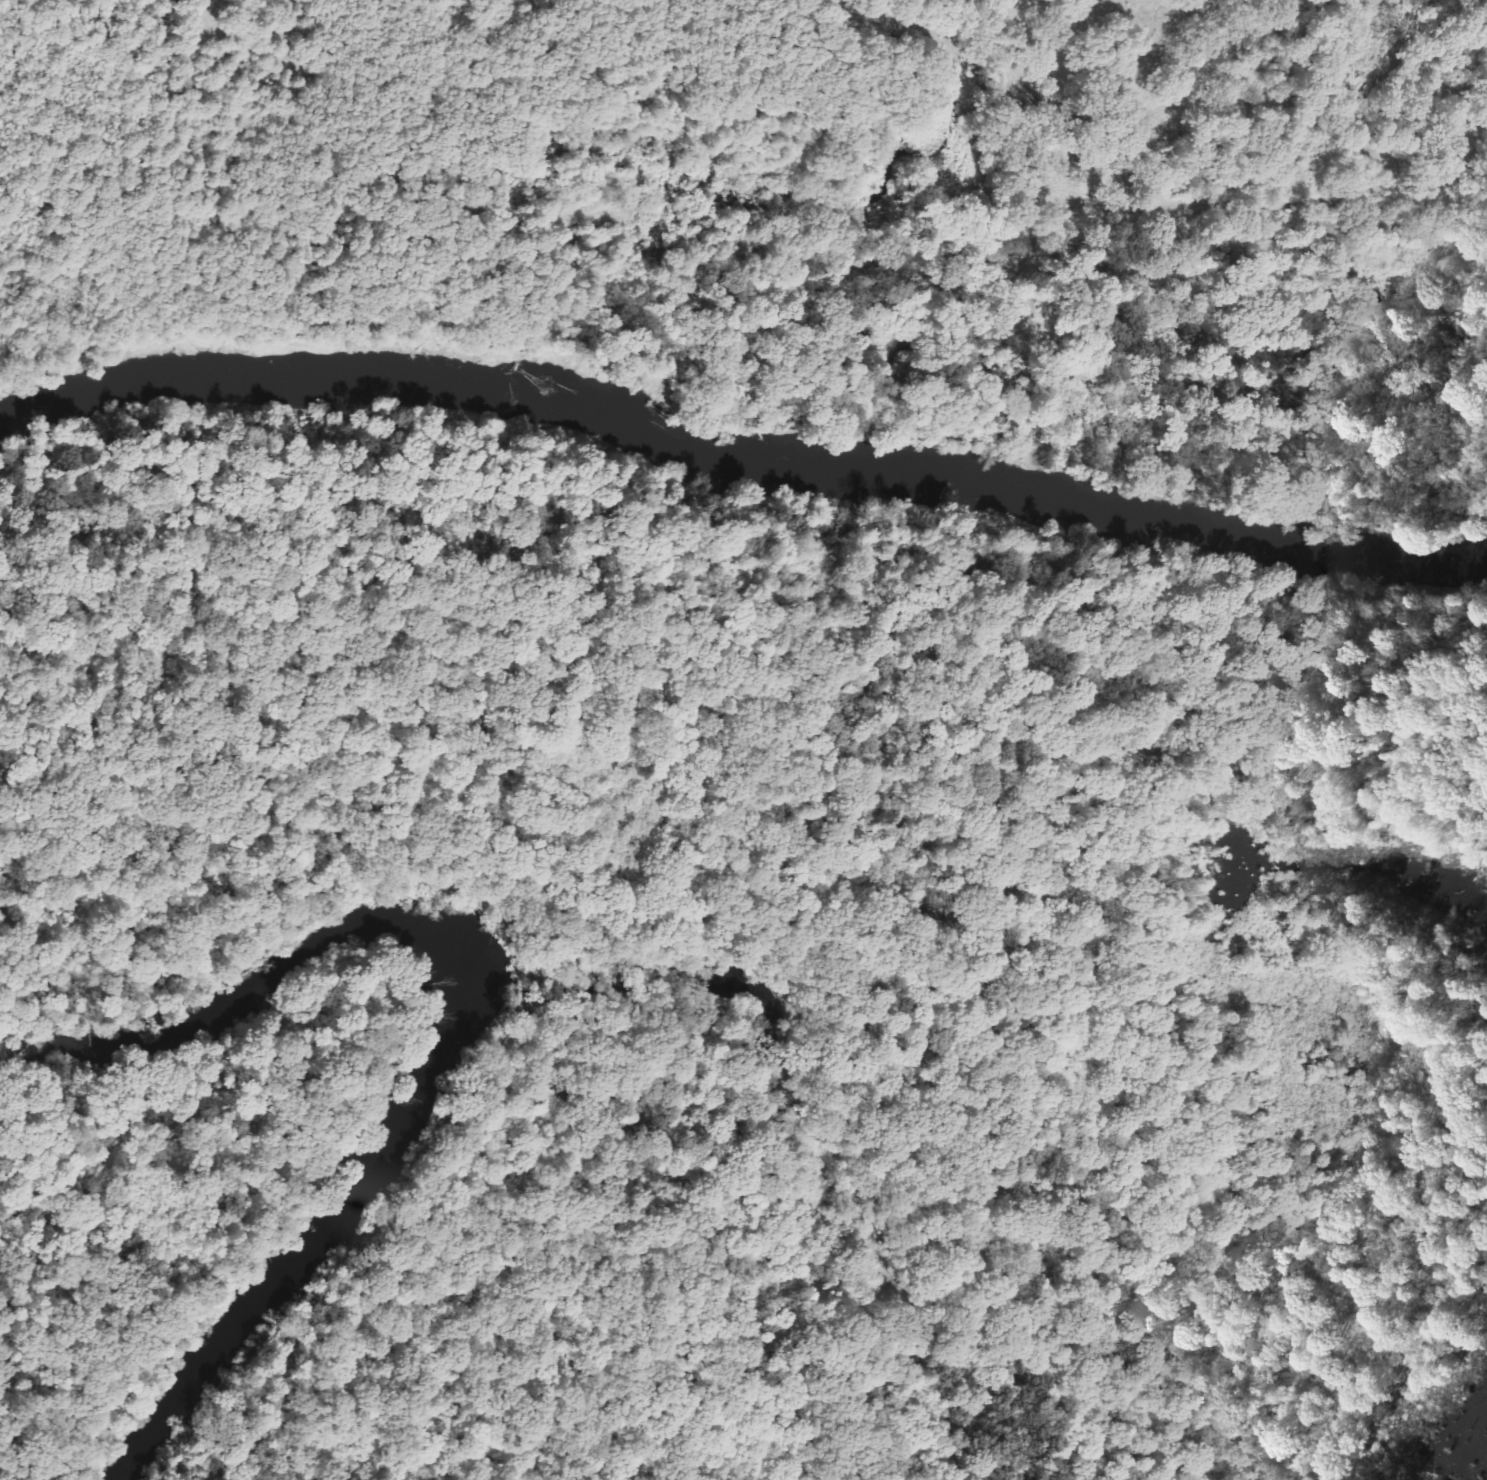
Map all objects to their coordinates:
road: (1134, 235)
river: (739, 450)

